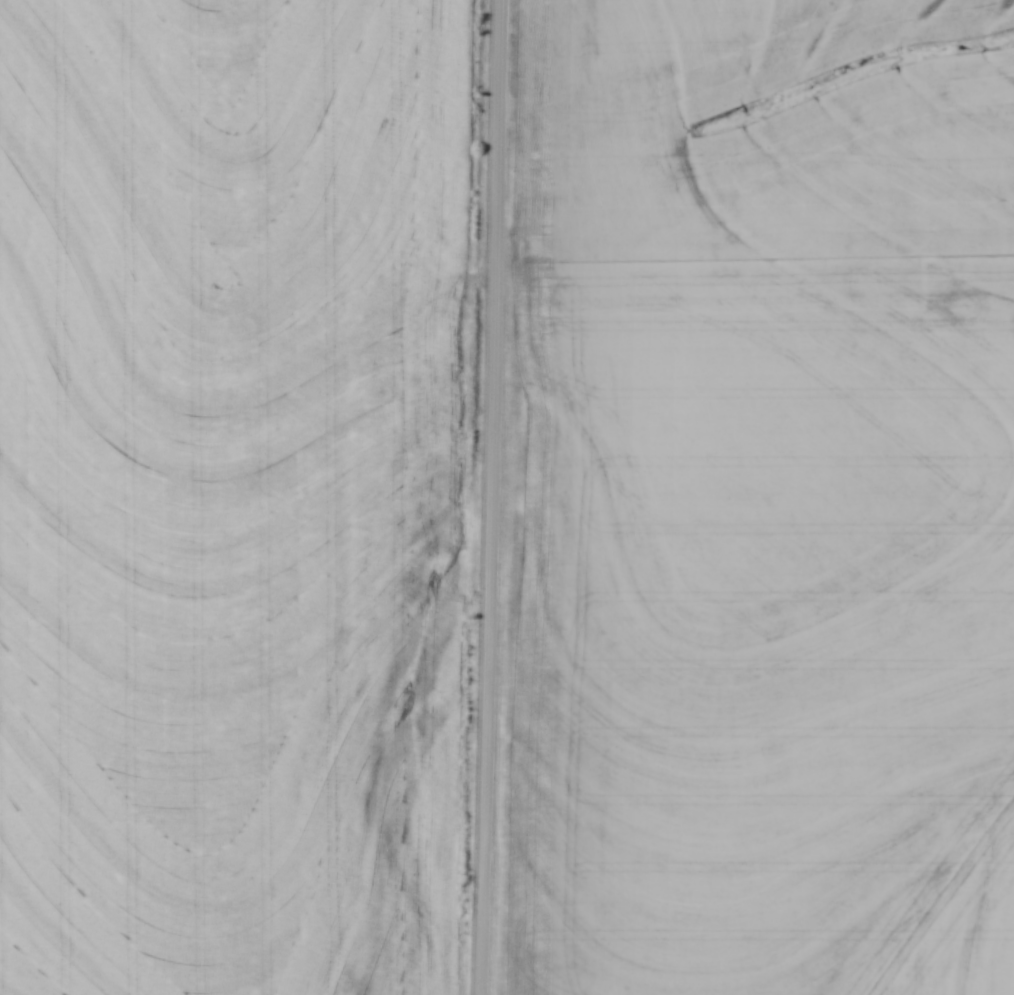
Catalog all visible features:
road: (496, 497)

